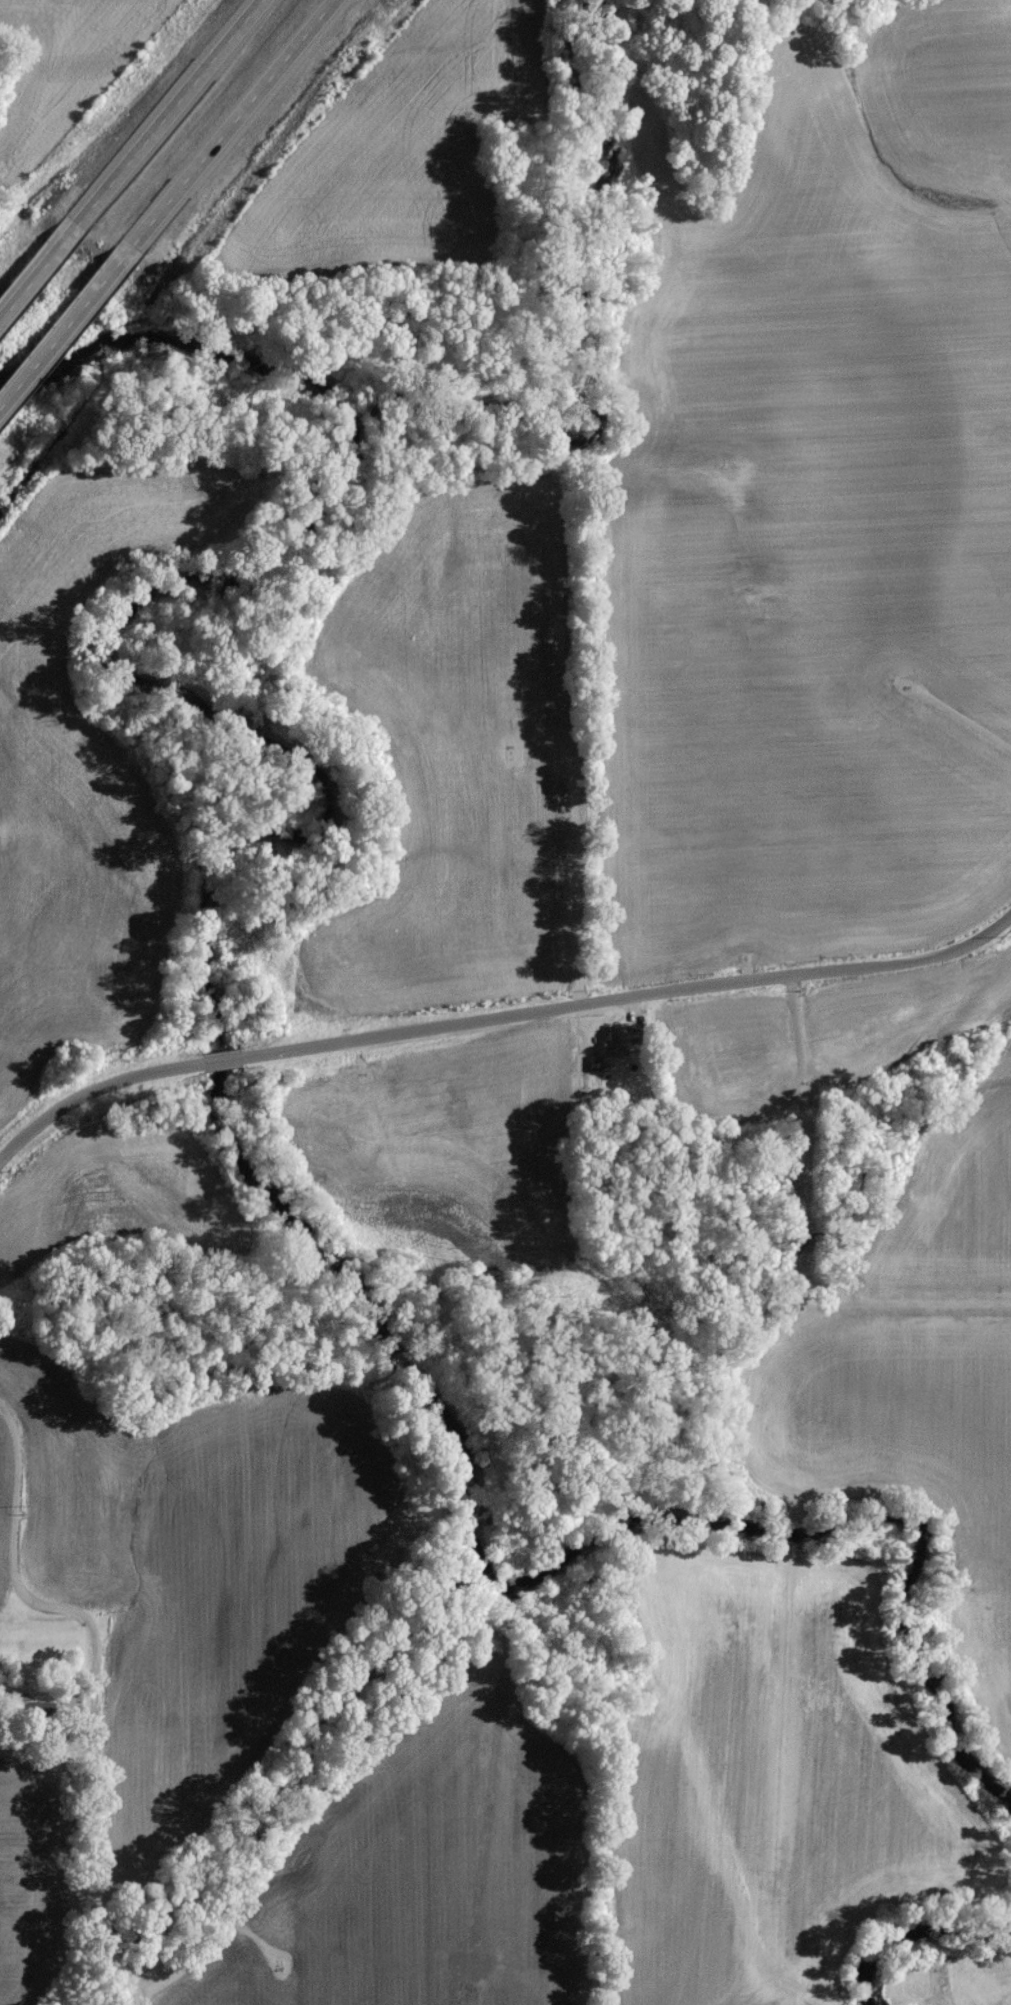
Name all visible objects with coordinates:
road: (169, 109)
road: (237, 114)
road: (39, 267)
road: (71, 317)
petroleum well: (903, 689)
road: (498, 1019)
building: (615, 1046)
petroleum well: (866, 1500)
road: (10, 1572)
road: (65, 1739)
petroleum well: (278, 1968)

